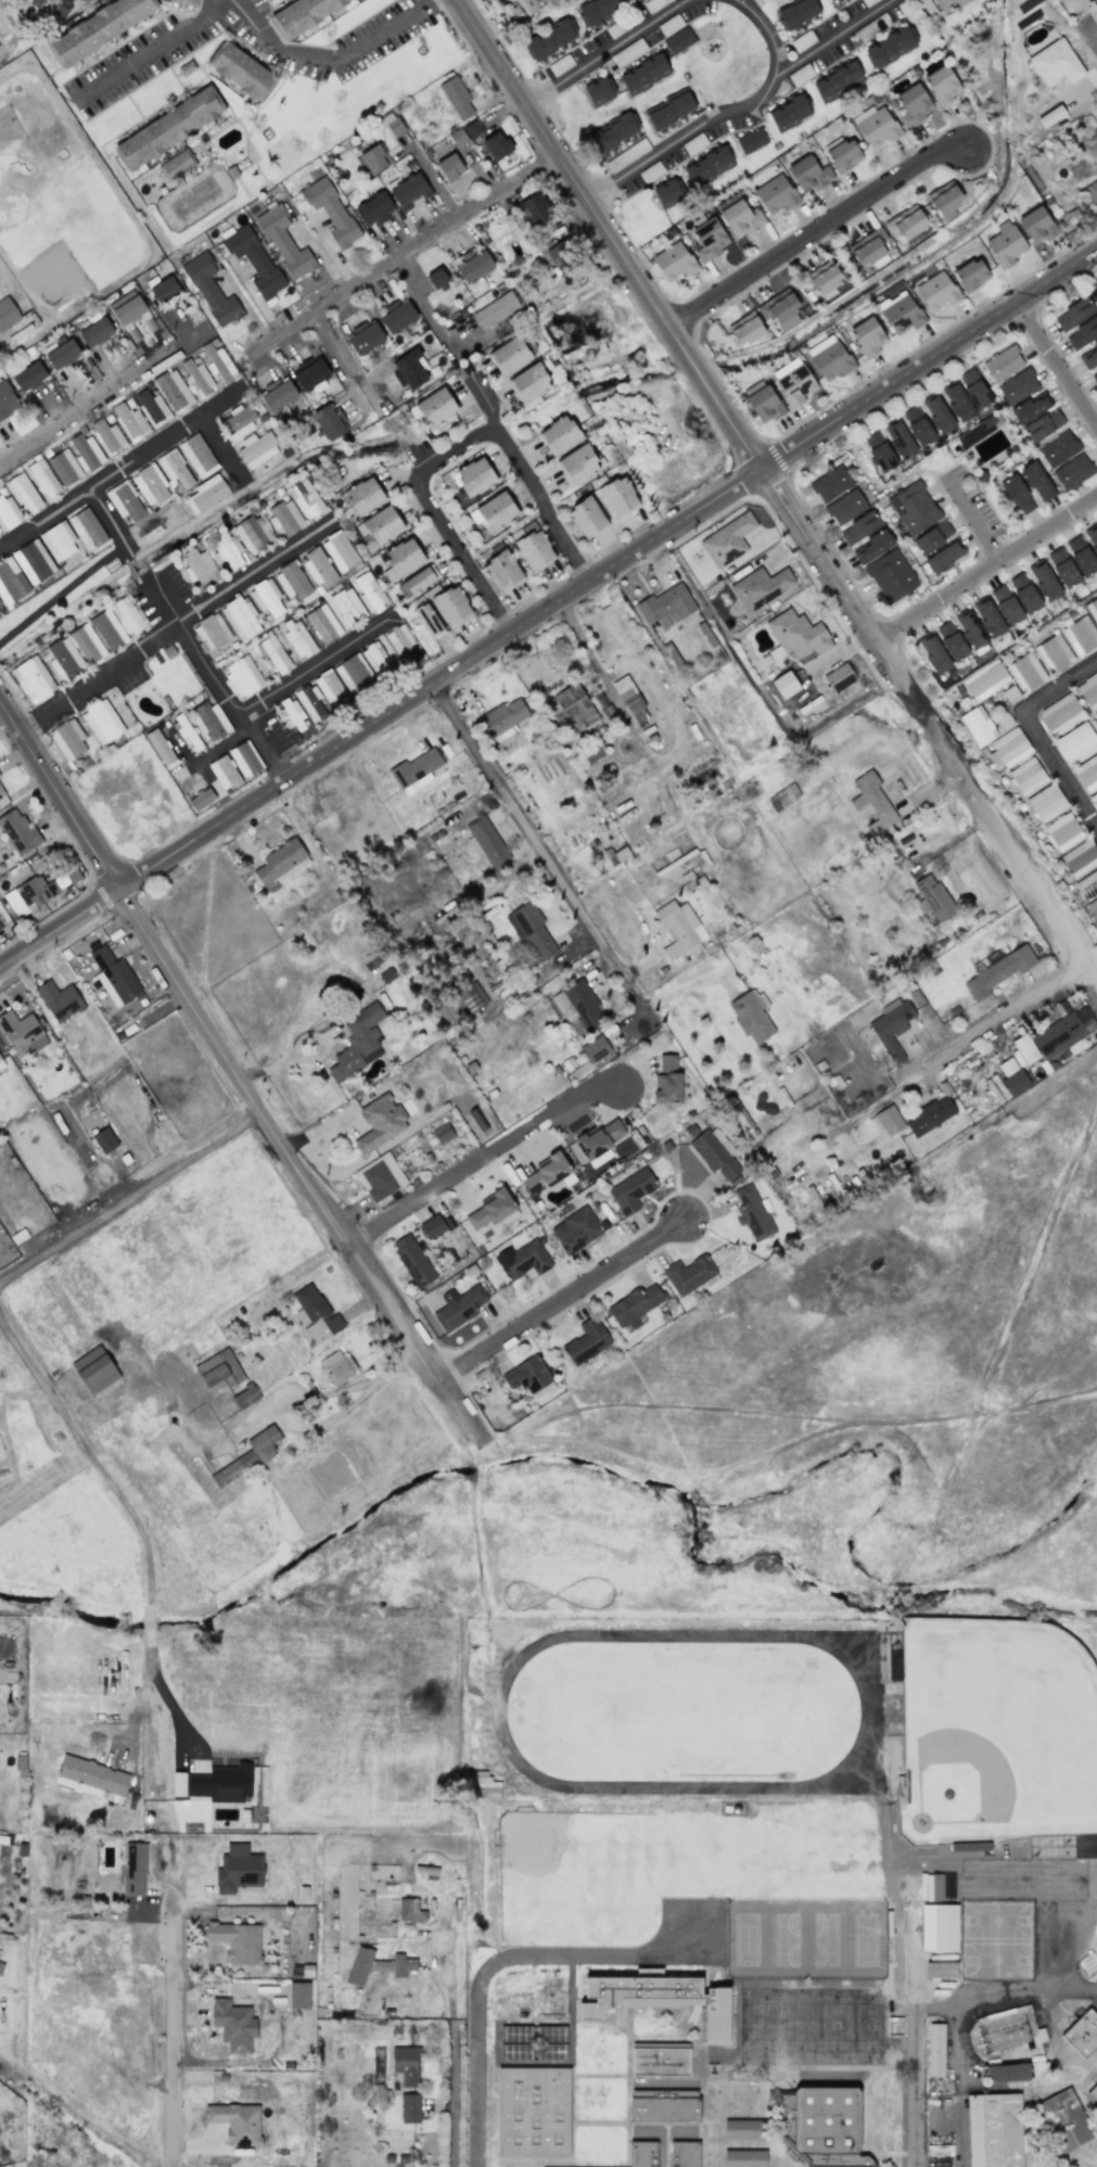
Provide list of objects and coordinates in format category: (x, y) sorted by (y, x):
building: (830, 0)
building: (1087, 0)
building: (184, 2)
road: (740, 2)
building: (948, 4)
building: (50, 8)
building: (519, 10)
building: (596, 11)
building: (302, 14)
building: (796, 14)
building: (98, 29)
road: (770, 35)
building: (678, 40)
building: (890, 47)
road: (154, 50)
road: (609, 53)
road: (1087, 53)
road: (332, 60)
building: (1055, 63)
parking lot: (318, 67)
building: (241, 72)
building: (643, 75)
building: (838, 81)
building: (941, 85)
building: (598, 91)
building: (456, 97)
building: (913, 104)
building: (669, 110)
building: (789, 113)
road: (752, 114)
building: (1050, 116)
building: (394, 125)
building: (876, 126)
building: (168, 128)
building: (472, 129)
building: (612, 132)
building: (457, 137)
building: (751, 141)
building: (496, 145)
building: (843, 155)
building: (370, 160)
building: (176, 165)
building: (707, 166)
building: (449, 167)
building: (808, 174)
building: (407, 190)
building: (666, 193)
building: (775, 194)
building: (944, 200)
building: (373, 209)
building: (535, 209)
building: (331, 211)
building: (740, 218)
building: (905, 222)
building: (1036, 225)
road: (815, 231)
building: (709, 240)
building: (284, 243)
building: (1005, 244)
building: (869, 248)
road: (1096, 250)
road: (403, 255)
building: (562, 257)
building: (253, 259)
building: (673, 262)
building: (473, 265)
building: (970, 275)
building: (436, 278)
building: (824, 278)
building: (164, 290)
building: (211, 290)
building: (936, 291)
road: (424, 307)
building: (779, 309)
building: (495, 310)
building: (901, 313)
building: (1073, 314)
building: (8, 315)
building: (396, 316)
building: (745, 330)
building: (94, 332)
building: (1082, 333)
building: (867, 336)
building: (365, 337)
road: (332, 345)
building: (62, 354)
building: (509, 355)
building: (1088, 357)
building: (829, 358)
building: (218, 364)
building: (1002, 364)
road: (1054, 365)
building: (409, 369)
building: (310, 372)
building: (28, 375)
building: (196, 377)
building: (1094, 377)
building: (530, 382)
building: (792, 382)
building: (1017, 385)
building: (973, 388)
building: (173, 391)
building: (277, 394)
road: (483, 398)
building: (7, 400)
building: (762, 401)
building: (956, 401)
road: (84, 404)
building: (436, 407)
building: (1030, 407)
building: (152, 408)
building: (936, 412)
building: (238, 421)
building: (986, 421)
building: (129, 422)
building: (328, 422)
building: (917, 425)
building: (1043, 425)
building: (559, 434)
building: (107, 437)
building: (898, 439)
road: (450, 447)
building: (1058, 448)
building: (257, 449)
building: (879, 451)
building: (86, 452)
building: (197, 456)
building: (578, 463)
building: (64, 467)
building: (174, 469)
road: (124, 470)
building: (1072, 472)
building: (473, 476)
building: (42, 480)
building: (1036, 482)
building: (830, 484)
building: (150, 485)
road: (775, 493)
building: (23, 494)
building: (206, 494)
building: (1017, 495)
building: (363, 496)
building: (617, 496)
building: (306, 498)
building: (125, 501)
building: (844, 506)
building: (913, 508)
building: (8, 512)
building: (494, 512)
building: (284, 517)
building: (586, 517)
road: (972, 519)
building: (380, 525)
building: (859, 527)
building: (87, 528)
building: (253, 534)
building: (1093, 535)
building: (932, 537)
building: (727, 539)
building: (58, 541)
building: (873, 546)
building: (534, 549)
building: (339, 551)
building: (227, 553)
building: (1081, 556)
building: (942, 558)
building: (33, 561)
road: (983, 566)
building: (319, 568)
building: (1062, 568)
building: (199, 569)
building: (502, 571)
road: (86, 572)
building: (891, 575)
building: (1044, 581)
building: (11, 582)
building: (292, 582)
building: (416, 582)
building: (761, 587)
building: (369, 592)
building: (1023, 592)
building: (266, 597)
building: (1006, 604)
building: (346, 606)
building: (451, 606)
building: (666, 606)
building: (1093, 609)
road: (549, 611)
building: (0, 612)
building: (126, 615)
building: (240, 617)
building: (987, 617)
building: (428, 620)
building: (322, 624)
road: (177, 628)
building: (107, 629)
building: (968, 629)
building: (212, 632)
building: (798, 634)
building: (1081, 636)
building: (297, 639)
building: (951, 641)
building: (87, 643)
building: (401, 645)
building: (933, 653)
building: (1054, 653)
building: (272, 655)
building: (380, 659)
building: (64, 660)
road: (320, 667)
building: (1025, 672)
building: (353, 674)
building: (242, 676)
building: (839, 677)
building: (33, 679)
building: (984, 679)
building: (330, 689)
building: (1088, 691)
building: (629, 700)
road: (234, 703)
building: (310, 703)
building: (573, 703)
building: (292, 713)
building: (1059, 714)
building: (1095, 714)
building: (502, 717)
building: (211, 721)
building: (101, 722)
building: (977, 726)
road: (1036, 729)
building: (187, 732)
building: (67, 740)
building: (1075, 743)
building: (160, 747)
building: (1007, 749)
building: (591, 753)
building: (245, 759)
building: (416, 770)
building: (224, 773)
building: (1087, 773)
building: (1026, 776)
building: (782, 796)
building: (2, 798)
building: (200, 799)
building: (1094, 799)
building: (1046, 803)
building: (872, 806)
building: (1062, 831)
building: (17, 832)
building: (485, 841)
road: (537, 847)
building: (1080, 858)
building: (281, 865)
building: (1087, 884)
building: (38, 890)
building: (933, 896)
building: (1093, 908)
building: (679, 928)
building: (0, 929)
building: (531, 932)
building: (997, 970)
building: (114, 977)
building: (59, 1000)
building: (469, 1000)
building: (577, 1007)
building: (751, 1016)
road: (988, 1021)
building: (891, 1027)
building: (1062, 1031)
building: (21, 1033)
building: (357, 1043)
building: (1024, 1048)
building: (595, 1049)
road: (289, 1061)
building: (1, 1065)
road: (234, 1071)
building: (1011, 1076)
building: (667, 1080)
building: (930, 1116)
building: (889, 1120)
building: (380, 1122)
building: (442, 1134)
building: (104, 1140)
building: (716, 1153)
road: (480, 1156)
building: (546, 1172)
building: (380, 1177)
building: (630, 1191)
road: (131, 1201)
building: (489, 1210)
building: (752, 1213)
building: (432, 1226)
building: (575, 1231)
building: (412, 1260)
building: (522, 1260)
building: (688, 1274)
road: (563, 1304)
building: (634, 1304)
building: (458, 1308)
building: (315, 1315)
building: (586, 1341)
building: (337, 1366)
building: (94, 1369)
building: (218, 1369)
building: (526, 1375)
road: (327, 1392)
building: (244, 1397)
road: (92, 1454)
building: (247, 1456)
road: (474, 1528)
road: (151, 1624)
road: (150, 1667)
road: (176, 1716)
park: (995, 1729)
building: (91, 1779)
building: (221, 1783)
building: (485, 1786)
road: (1039, 1865)
building: (238, 1870)
building: (133, 1871)
building: (933, 1887)
building: (409, 1910)
building: (937, 1927)
building: (237, 1941)
building: (378, 1964)
building: (0, 1967)
building: (941, 1970)
building: (648, 1972)
building: (298, 1996)
building: (660, 2000)
building: (233, 2025)
building: (557, 2034)
building: (1082, 2034)
building: (516, 2035)
road: (921, 2037)
road: (177, 2040)
building: (934, 2050)
building: (660, 2062)
building: (406, 2064)
building: (1006, 2073)
road: (458, 2096)
building: (1094, 2096)
building: (409, 2108)
building: (663, 2109)
building: (532, 2111)
road: (920, 2116)
building: (235, 2123)
building: (821, 2126)
building: (1064, 2126)
building: (743, 2130)
road: (954, 2130)
building: (994, 2130)
building: (641, 2154)
building: (684, 2154)
building: (744, 2158)

